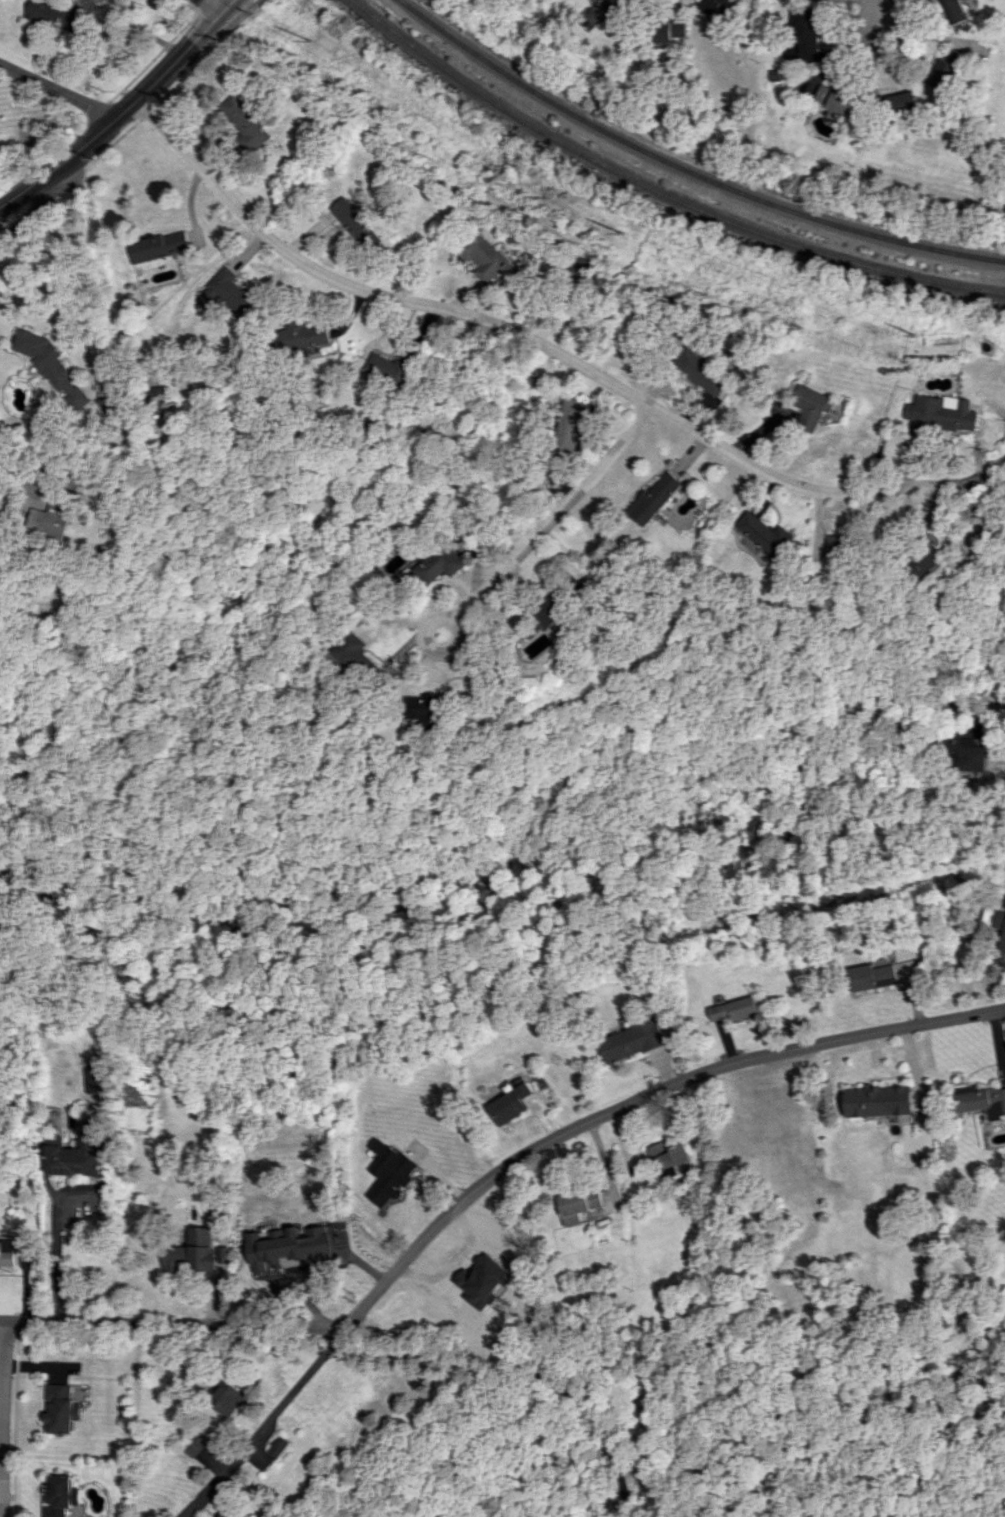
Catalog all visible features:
road: (875, 1)
road: (256, 3)
park: (190, 4)
road: (203, 4)
road: (213, 4)
road: (225, 4)
building: (715, 7)
building: (954, 11)
building: (604, 13)
building: (45, 14)
building: (670, 30)
building: (803, 31)
road: (932, 37)
road: (877, 40)
power tower: (310, 43)
road: (204, 55)
road: (154, 57)
building: (942, 69)
road: (151, 84)
road: (57, 91)
building: (834, 99)
road: (148, 111)
building: (242, 121)
road: (112, 144)
railway: (689, 168)
road: (38, 180)
railway: (656, 191)
road: (44, 203)
building: (353, 221)
building: (157, 246)
building: (484, 258)
road: (76, 282)
building: (227, 295)
building: (303, 335)
road: (551, 349)
building: (51, 366)
building: (391, 369)
building: (699, 372)
building: (107, 404)
building: (810, 406)
building: (939, 414)
building: (572, 424)
road: (24, 468)
building: (653, 497)
building: (57, 525)
building: (762, 535)
building: (837, 545)
road: (518, 555)
building: (925, 561)
building: (441, 564)
building: (551, 607)
building: (359, 654)
building: (426, 709)
building: (969, 746)
building: (1002, 944)
building: (872, 977)
building: (734, 1010)
building: (632, 1040)
building: (98, 1080)
building: (979, 1100)
building: (878, 1101)
building: (509, 1104)
building: (77, 1154)
building: (666, 1160)
building: (388, 1173)
road: (487, 1178)
building: (576, 1205)
building: (192, 1252)
building: (7, 1253)
road: (54, 1256)
building: (298, 1259)
building: (482, 1281)
road: (523, 1375)
road: (2, 1391)
building: (226, 1398)
building: (61, 1409)
road: (264, 1422)
building: (194, 1445)
building: (276, 1446)
building: (59, 1496)
building: (232, 1514)

